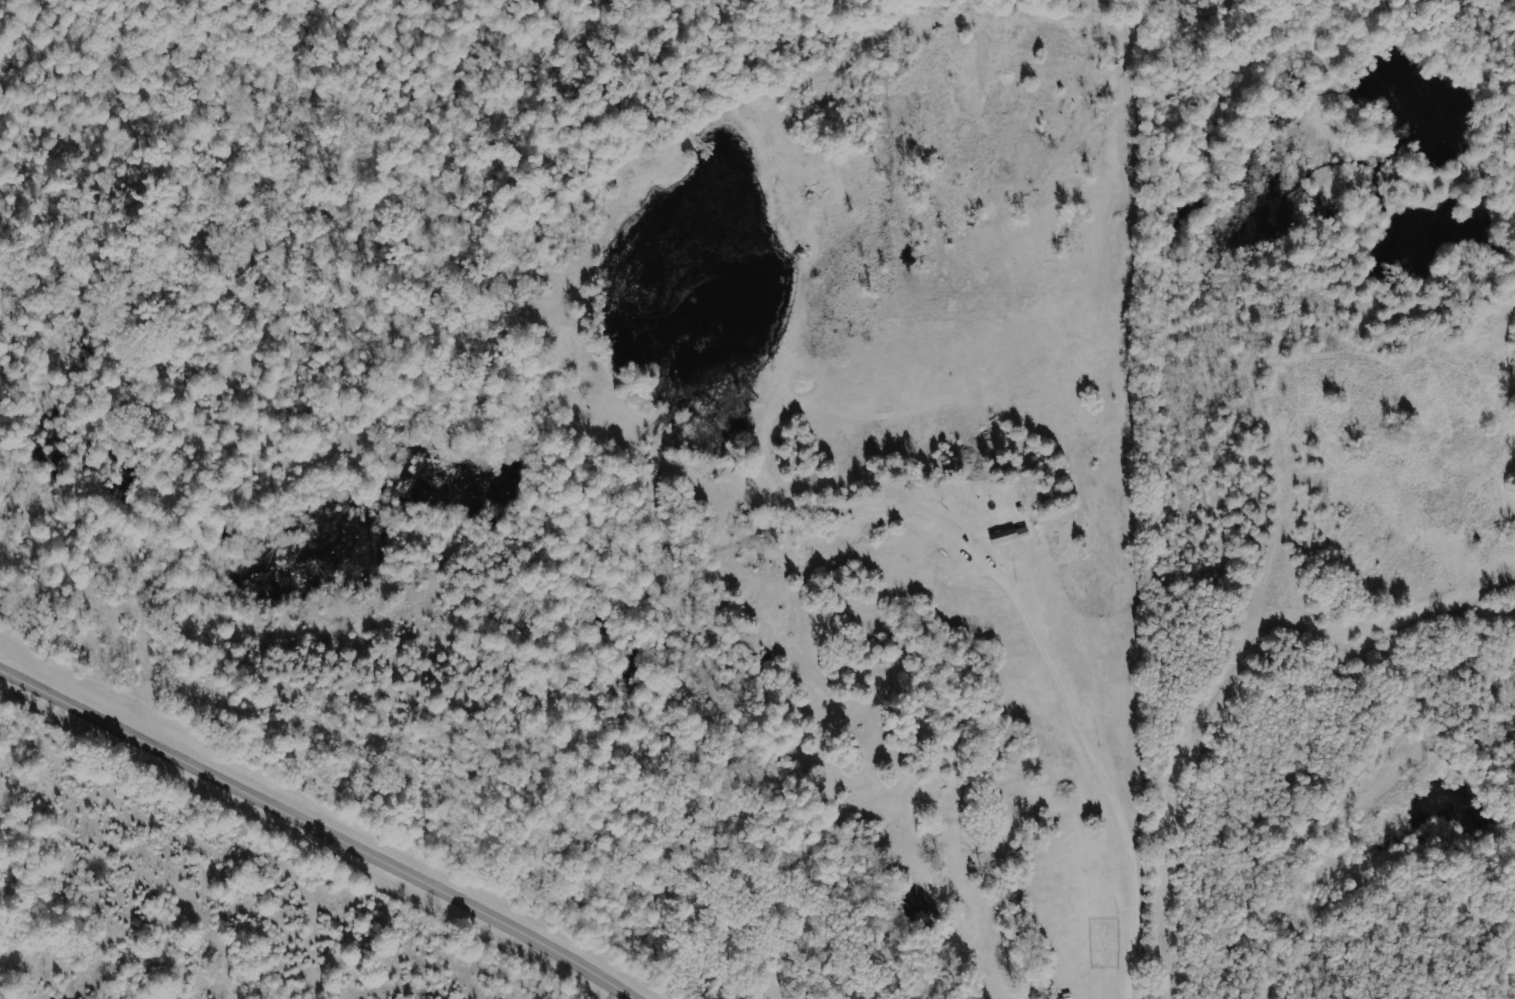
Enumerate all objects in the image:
road: (319, 829)

